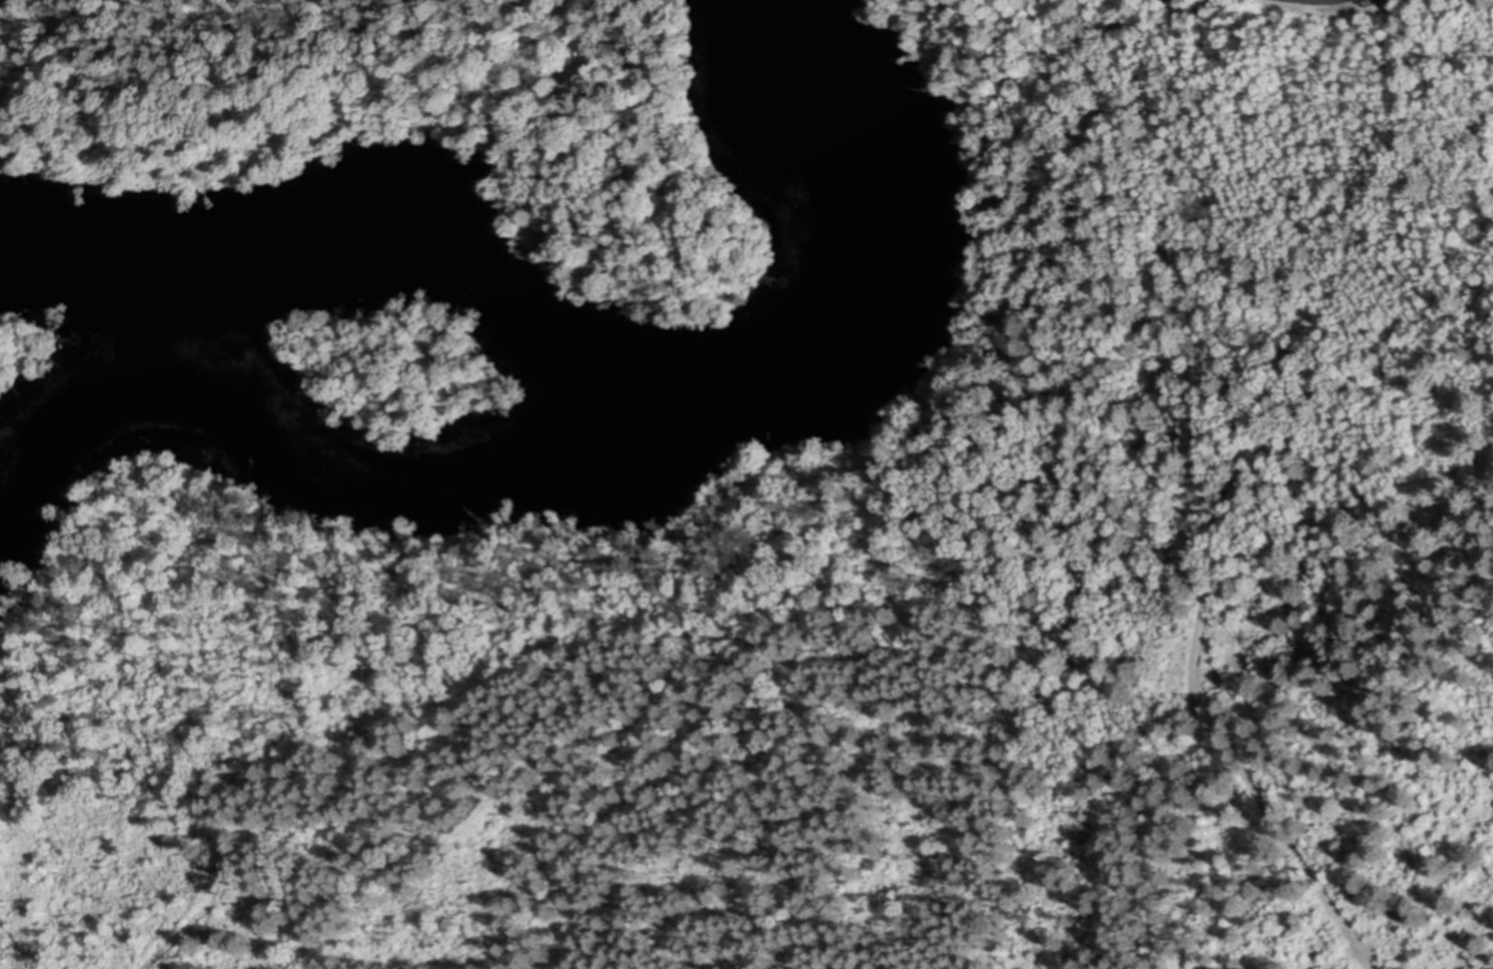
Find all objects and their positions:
river: (570, 443)

